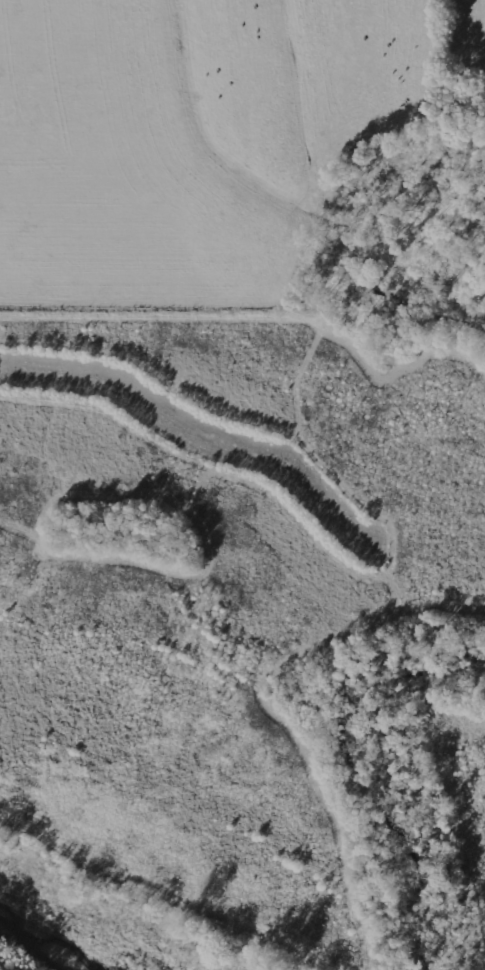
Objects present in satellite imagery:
river: (31, 952)

